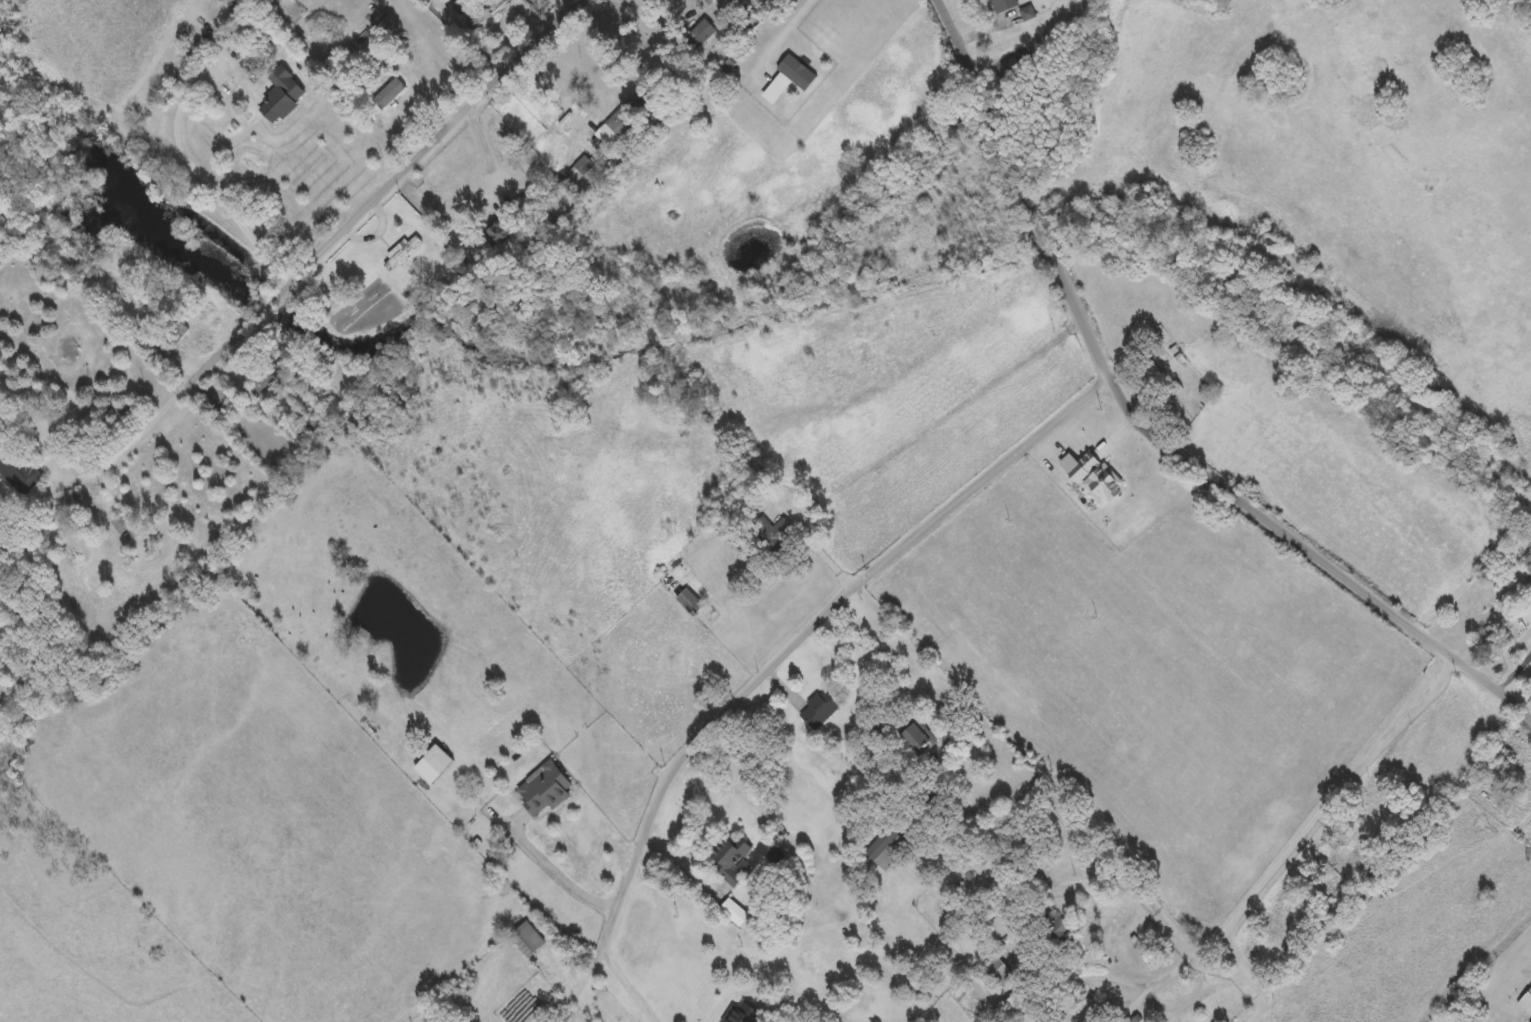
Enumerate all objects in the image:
building: (1002, 4)
building: (483, 12)
road: (795, 21)
building: (697, 34)
building: (360, 37)
building: (389, 90)
building: (280, 93)
road: (179, 102)
building: (617, 119)
road: (137, 126)
road: (491, 147)
building: (579, 167)
building: (530, 196)
road: (379, 226)
building: (496, 231)
building: (401, 250)
road: (322, 252)
building: (170, 333)
road: (951, 413)
road: (1150, 424)
building: (17, 468)
building: (119, 522)
building: (771, 530)
building: (741, 544)
road: (819, 544)
building: (1527, 561)
building: (689, 599)
road: (894, 630)
road: (783, 649)
road: (1508, 651)
building: (820, 706)
building: (917, 735)
building: (432, 762)
building: (542, 787)
road: (1329, 796)
building: (1020, 846)
building: (886, 847)
building: (730, 860)
road: (678, 866)
road: (558, 872)
road: (1139, 890)
building: (1057, 925)
building: (526, 937)
building: (993, 969)
road: (1250, 973)
road: (1153, 981)
road: (627, 985)
building: (1526, 1000)
building: (1015, 1003)
road: (571, 1006)
building: (741, 1012)
building: (1530, 1021)

